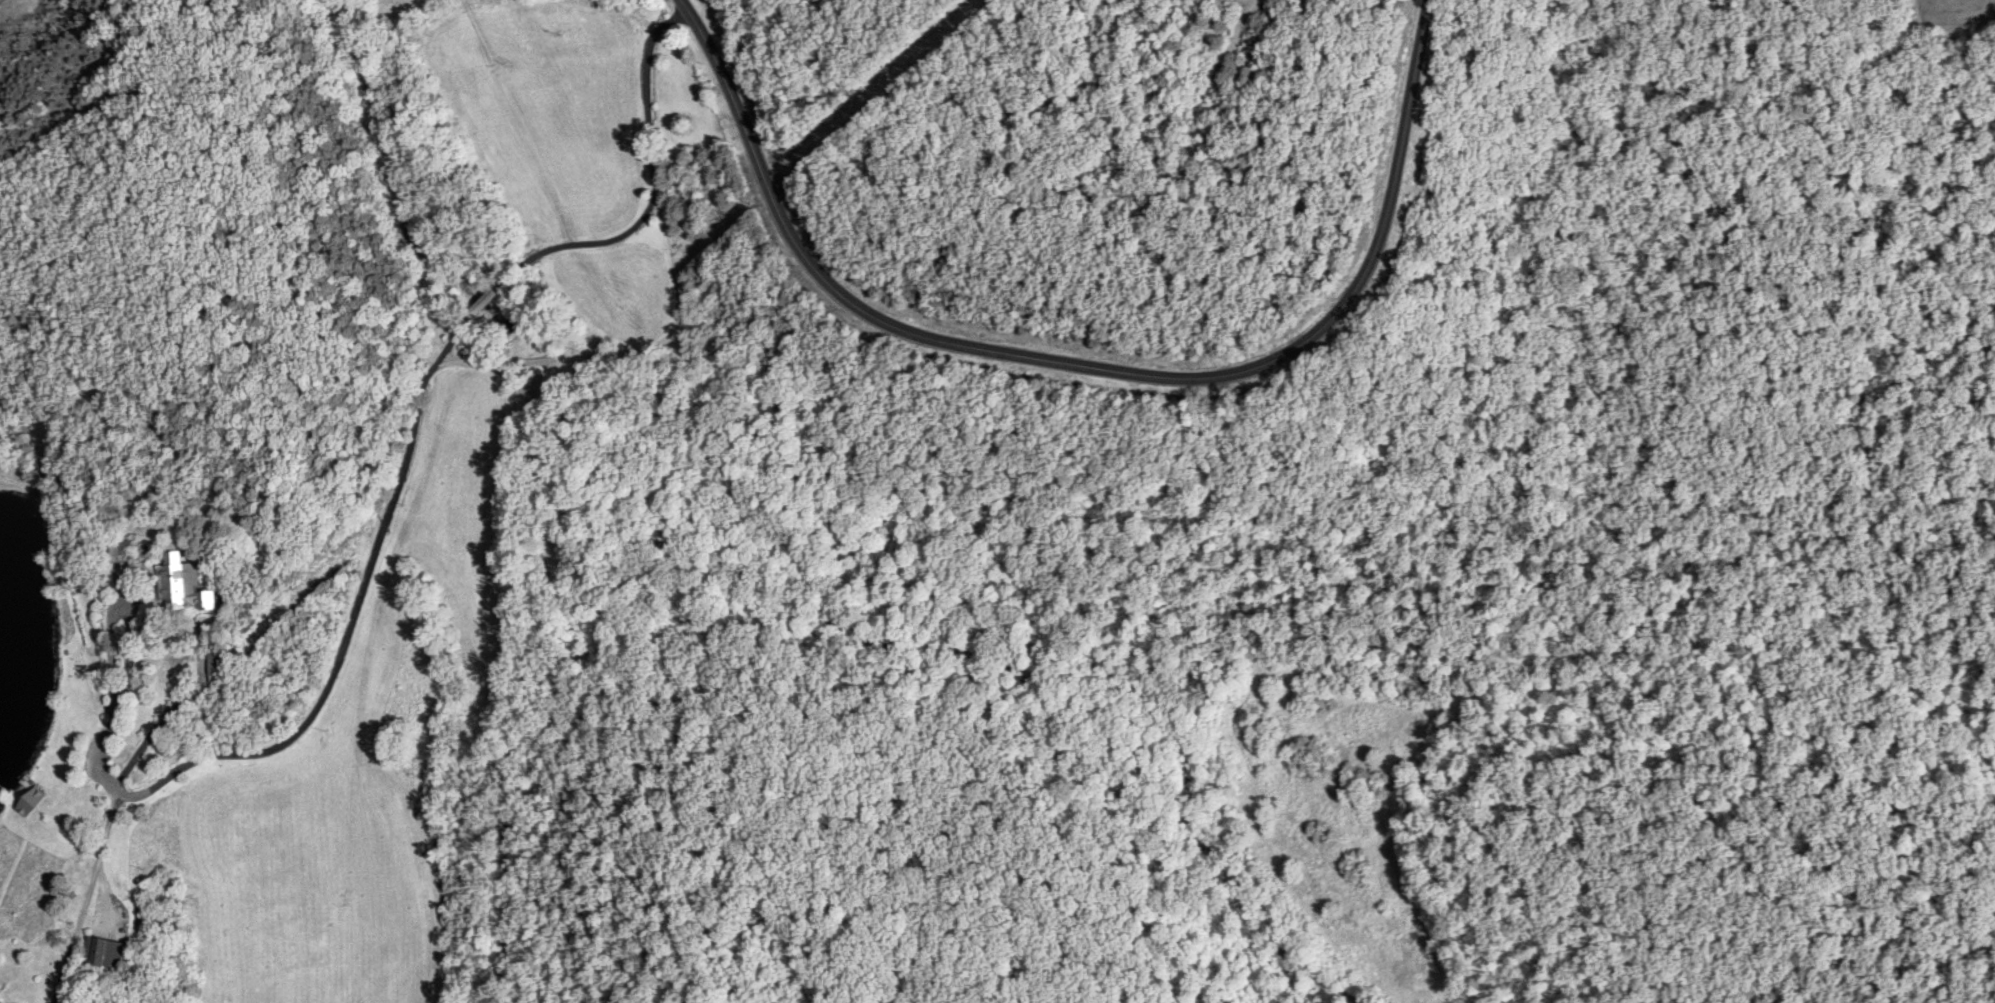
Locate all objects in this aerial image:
road: (634, 228)
road: (1088, 367)
road: (375, 551)
building: (113, 554)
building: (179, 586)
building: (213, 668)
building: (24, 805)
road: (83, 896)
building: (99, 953)

